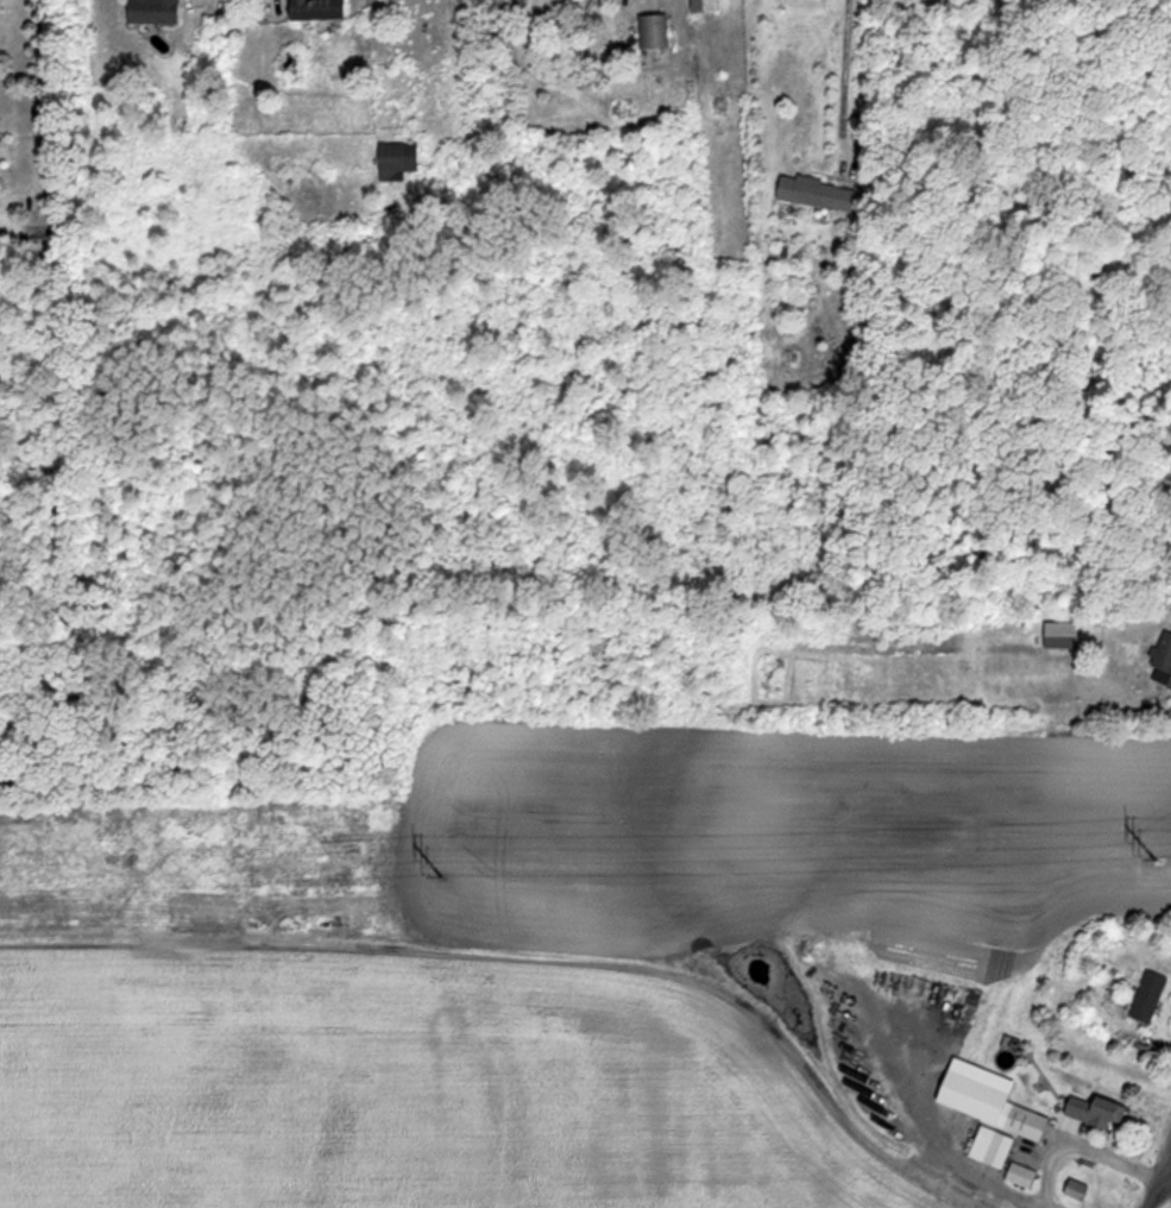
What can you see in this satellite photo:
building: (516, 2)
building: (697, 6)
building: (311, 10)
building: (150, 12)
building: (649, 32)
road: (845, 73)
building: (392, 161)
building: (812, 194)
building: (1057, 636)
building: (1160, 662)
power tower: (1157, 870)
power tower: (443, 887)
building: (1144, 998)
building: (983, 1107)
building: (1088, 1112)
road: (946, 1146)
building: (986, 1149)
road: (1084, 1158)
road: (1166, 1174)
building: (1016, 1177)
road: (1159, 1178)
building: (1071, 1191)

